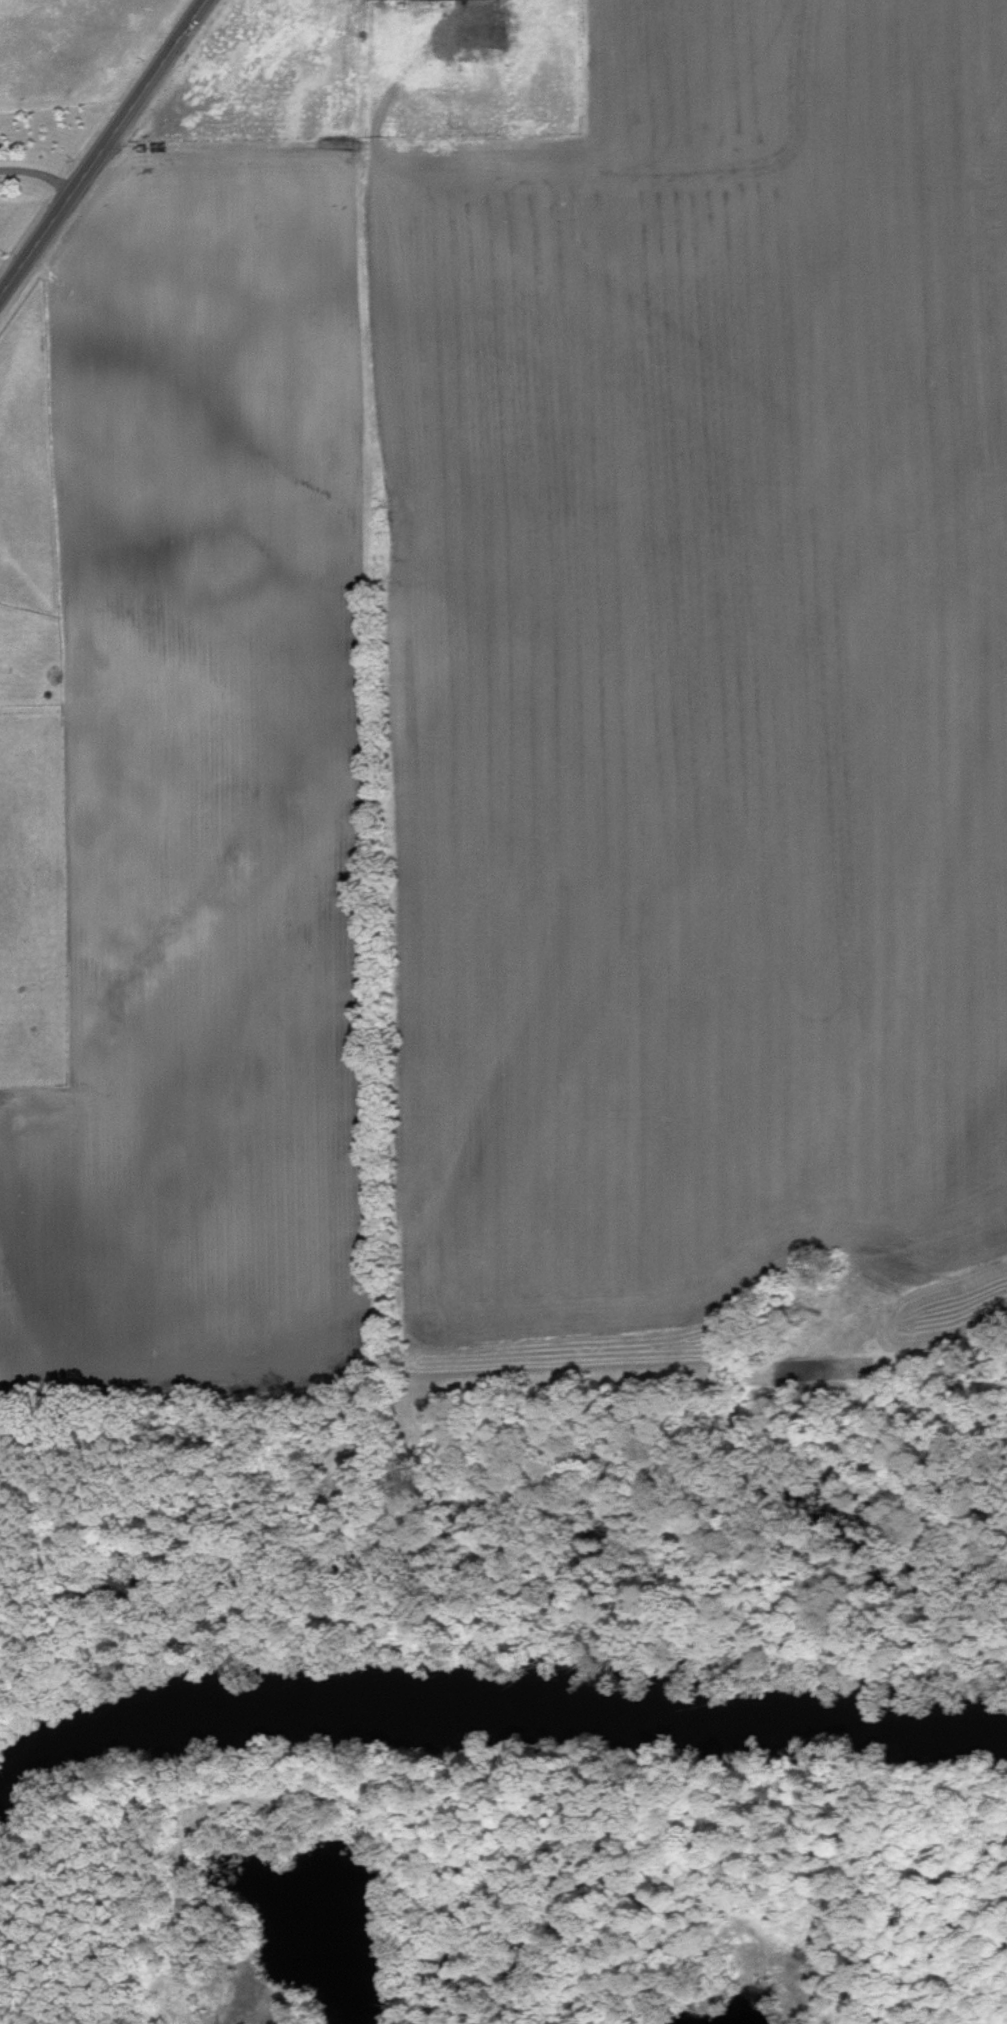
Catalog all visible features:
road: (103, 147)
road: (38, 174)
river: (489, 1692)

